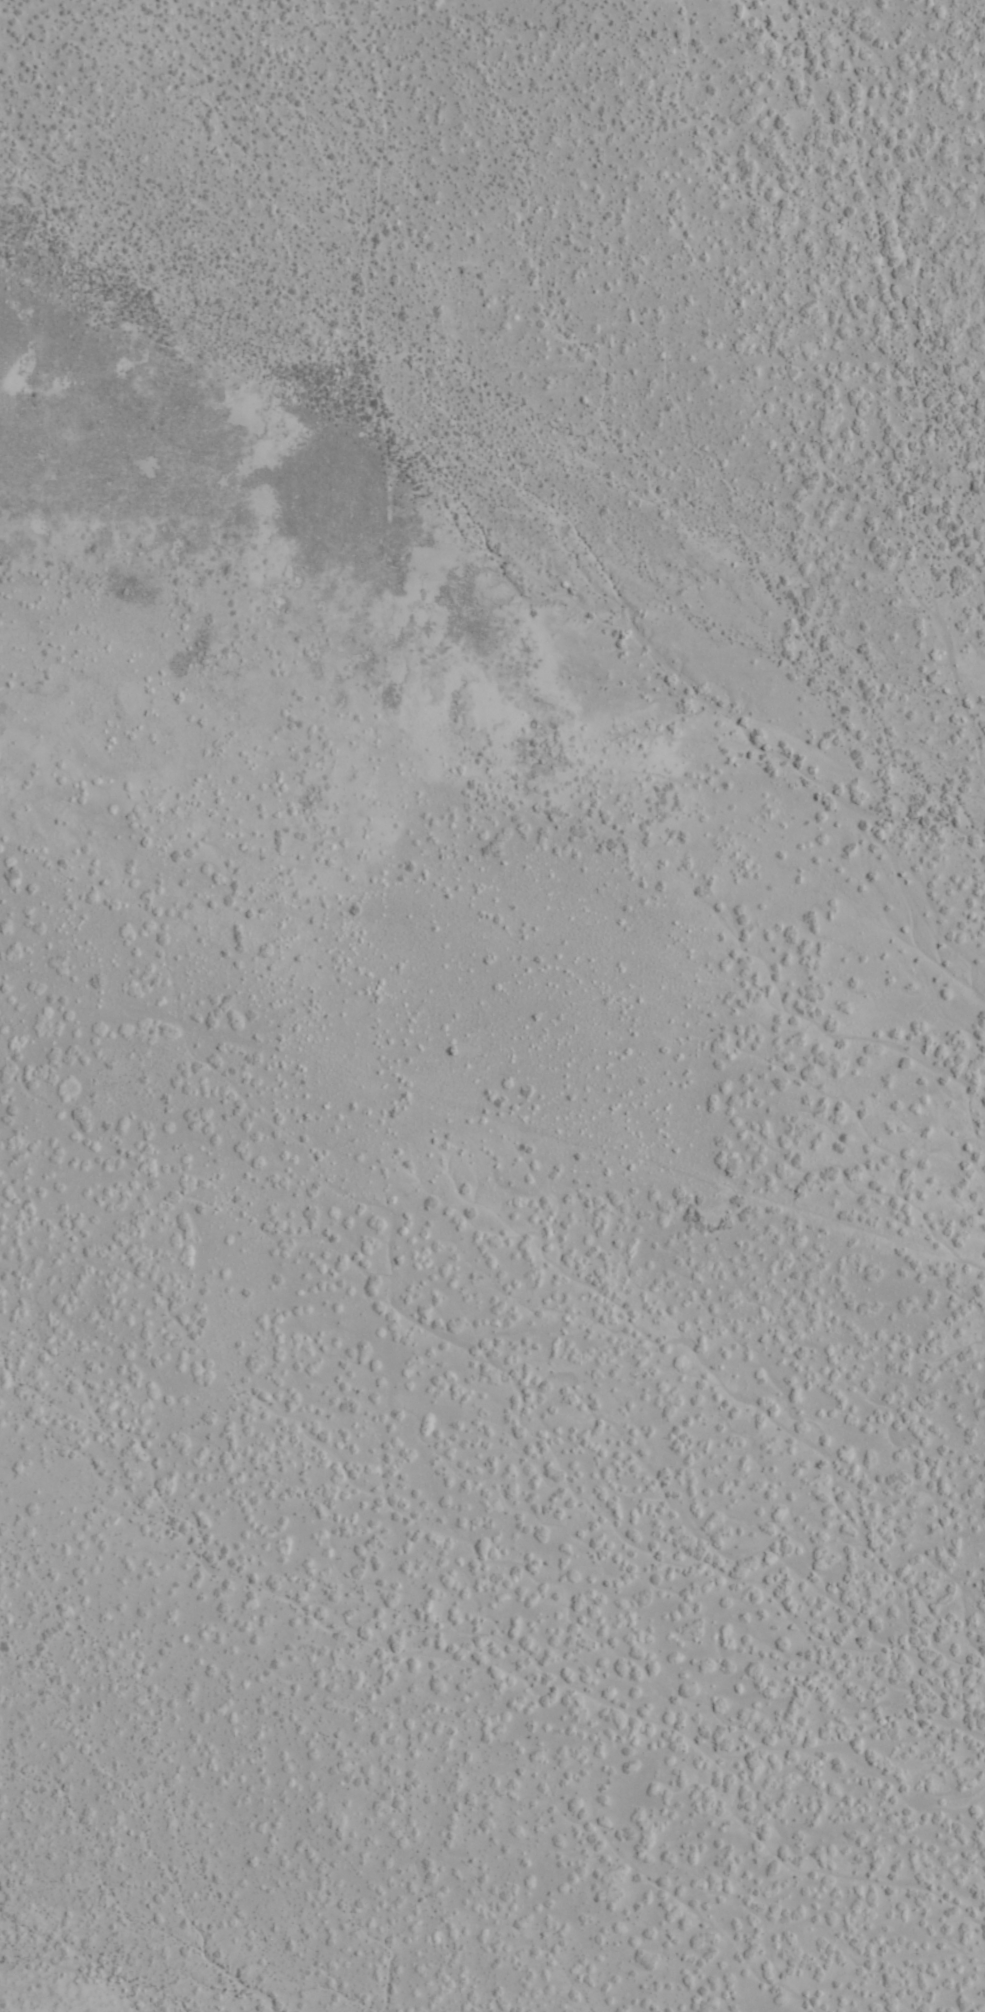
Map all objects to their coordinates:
road: (492, 1116)

